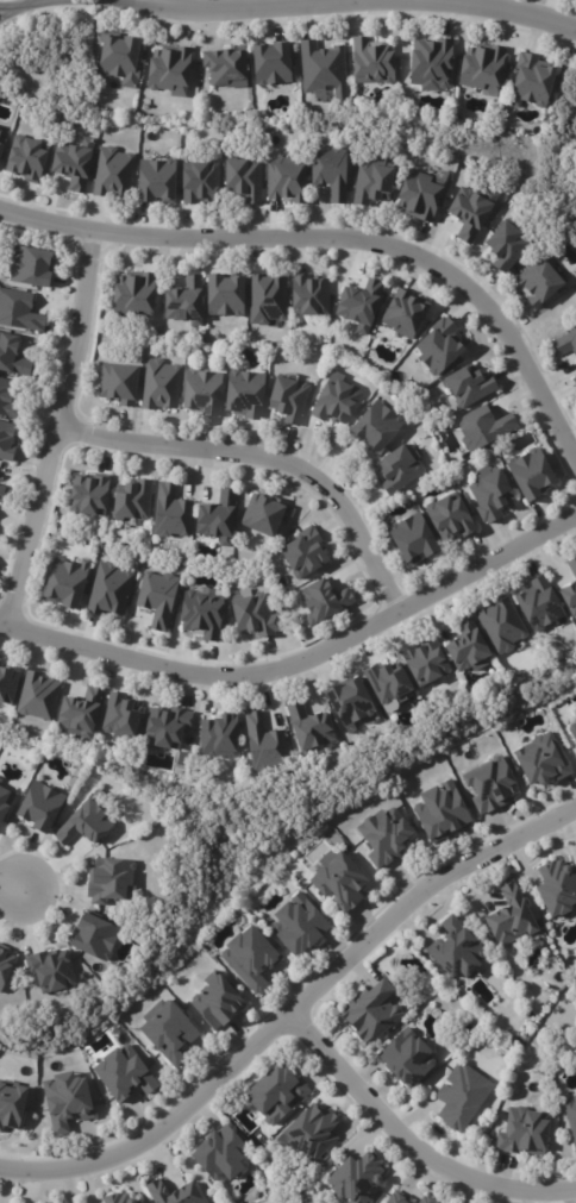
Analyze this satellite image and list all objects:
road: (336, 0)
road: (367, 0)
road: (238, 2)
road: (264, 2)
road: (480, 2)
road: (14, 5)
road: (499, 5)
road: (547, 10)
road: (6, 11)
road: (137, 15)
road: (359, 15)
road: (303, 17)
road: (445, 17)
road: (277, 19)
road: (186, 23)
road: (213, 24)
road: (501, 25)
road: (536, 32)
building: (118, 55)
building: (269, 62)
building: (372, 62)
building: (430, 64)
building: (223, 67)
building: (321, 68)
building: (482, 68)
building: (167, 70)
building: (528, 79)
building: (0, 129)
building: (2, 139)
building: (26, 158)
building: (73, 164)
building: (328, 171)
building: (109, 173)
building: (242, 178)
building: (154, 180)
building: (196, 181)
building: (369, 181)
building: (286, 182)
building: (415, 195)
building: (469, 213)
road: (340, 238)
building: (505, 248)
building: (30, 268)
building: (539, 282)
building: (133, 295)
building: (225, 295)
building: (308, 296)
building: (265, 299)
building: (182, 302)
building: (357, 306)
building: (19, 311)
building: (402, 315)
building: (566, 342)
building: (440, 345)
building: (12, 357)
building: (575, 380)
building: (157, 384)
building: (115, 386)
building: (467, 387)
building: (199, 393)
building: (245, 394)
building: (7, 399)
building: (287, 399)
building: (333, 402)
building: (375, 426)
building: (484, 427)
road: (56, 432)
building: (6, 440)
road: (262, 462)
building: (397, 470)
building: (530, 474)
building: (1, 488)
building: (489, 495)
building: (86, 496)
building: (129, 502)
building: (169, 513)
building: (265, 515)
building: (215, 518)
building: (447, 518)
building: (411, 539)
building: (303, 552)
building: (572, 563)
building: (64, 584)
building: (107, 591)
building: (569, 595)
building: (157, 599)
building: (539, 601)
building: (321, 602)
building: (200, 615)
building: (251, 616)
building: (500, 625)
building: (465, 647)
road: (301, 663)
building: (0, 664)
building: (424, 664)
building: (386, 681)
building: (7, 684)
building: (38, 698)
building: (350, 702)
building: (79, 713)
building: (575, 714)
building: (120, 715)
building: (308, 727)
building: (163, 728)
building: (572, 733)
building: (219, 738)
building: (263, 746)
building: (539, 762)
building: (489, 785)
building: (5, 802)
building: (39, 807)
building: (440, 812)
building: (83, 825)
building: (384, 835)
building: (109, 881)
road: (13, 882)
building: (340, 883)
building: (556, 889)
building: (512, 919)
building: (296, 927)
building: (96, 934)
building: (455, 951)
building: (250, 959)
building: (5, 967)
building: (48, 969)
building: (217, 1000)
road: (294, 1009)
building: (369, 1014)
building: (165, 1032)
building: (405, 1060)
building: (121, 1074)
building: (275, 1094)
building: (459, 1097)
building: (67, 1102)
building: (12, 1108)
building: (571, 1116)
building: (309, 1134)
building: (524, 1134)
road: (411, 1144)
building: (218, 1155)
building: (356, 1180)
building: (173, 1193)
building: (396, 1198)
building: (427, 1198)
building: (115, 1199)

